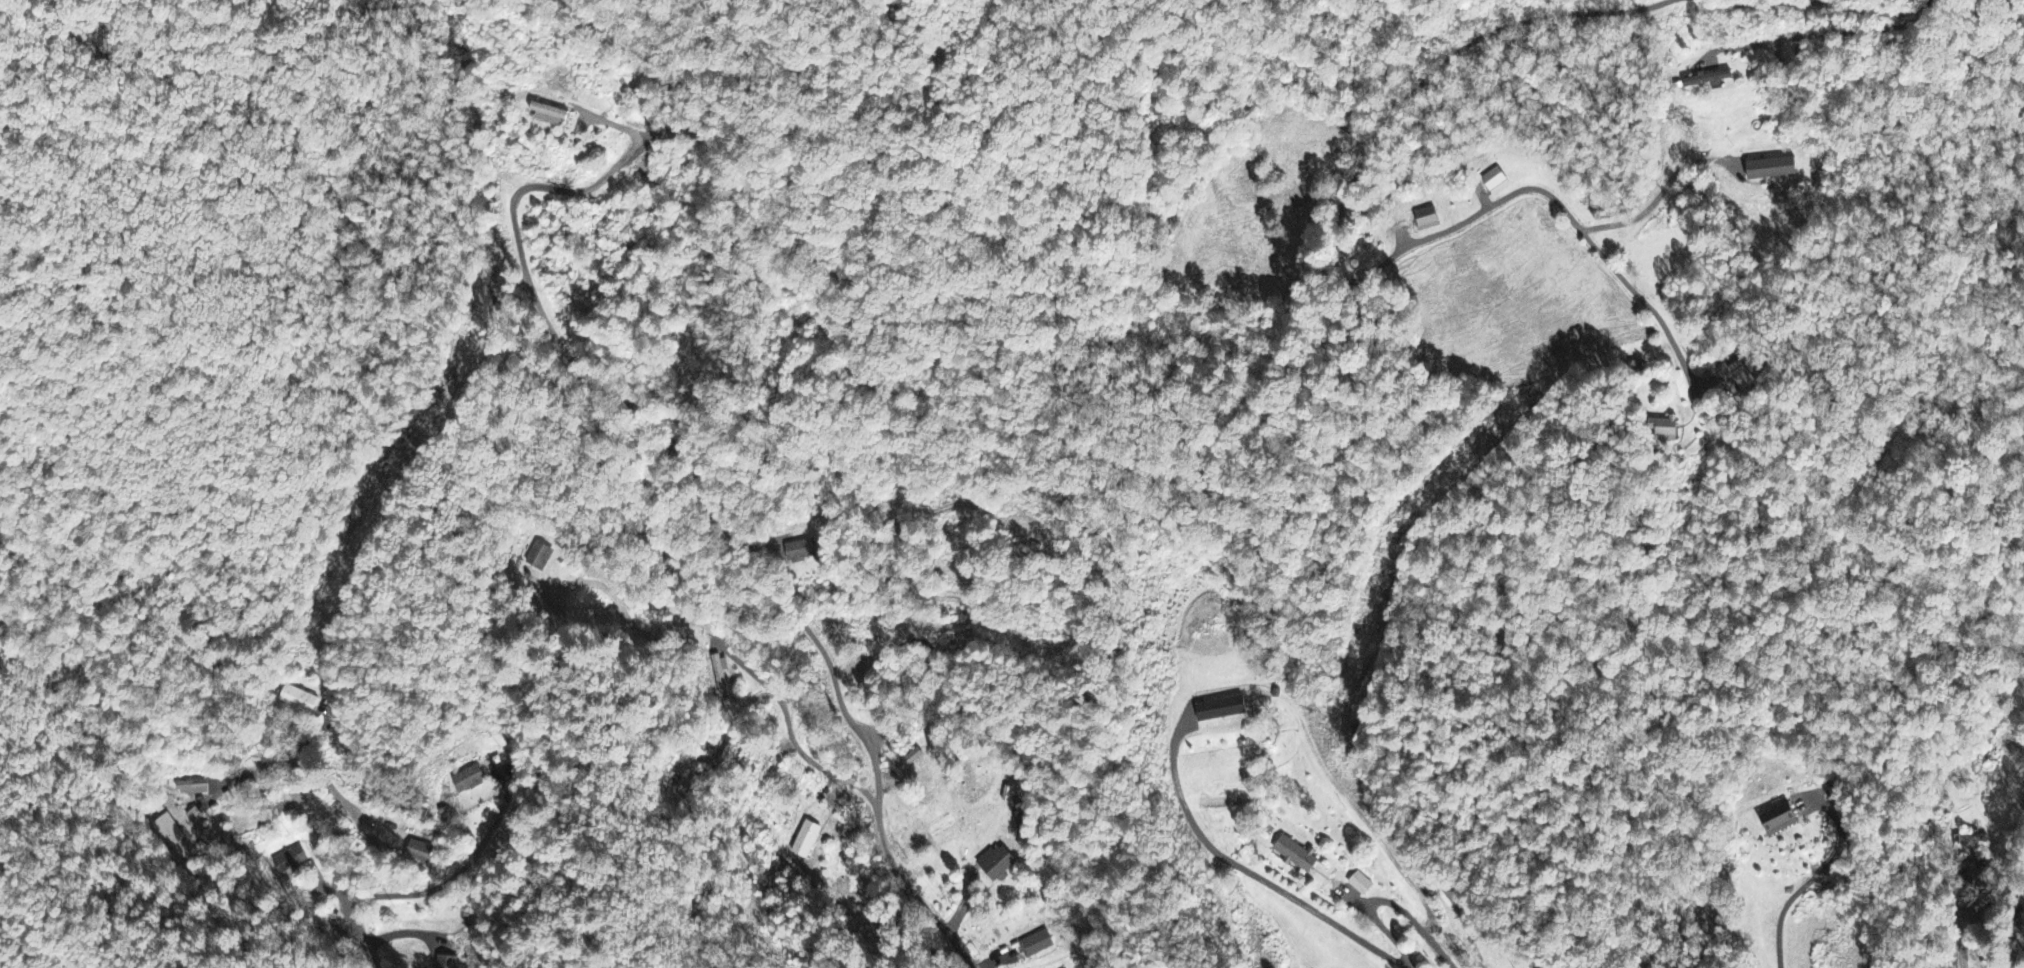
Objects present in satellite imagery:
road: (1825, 2)
road: (1442, 63)
building: (1707, 80)
building: (548, 116)
building: (1772, 169)
building: (1494, 181)
road: (1661, 192)
road: (1556, 201)
building: (1427, 220)
building: (1736, 378)
building: (1665, 430)
road: (709, 512)
building: (801, 551)
building: (539, 557)
road: (731, 654)
building: (719, 675)
building: (297, 700)
building: (1221, 709)
building: (909, 760)
building: (467, 780)
building: (190, 788)
building: (193, 816)
building: (1780, 820)
building: (167, 831)
building: (806, 840)
building: (1969, 842)
building: (419, 853)
building: (1296, 855)
building: (289, 860)
road: (327, 860)
building: (996, 863)
road: (450, 874)
road: (1811, 878)
building: (1360, 884)
road: (1996, 899)
road: (1389, 902)
building: (1037, 945)
building: (445, 962)

